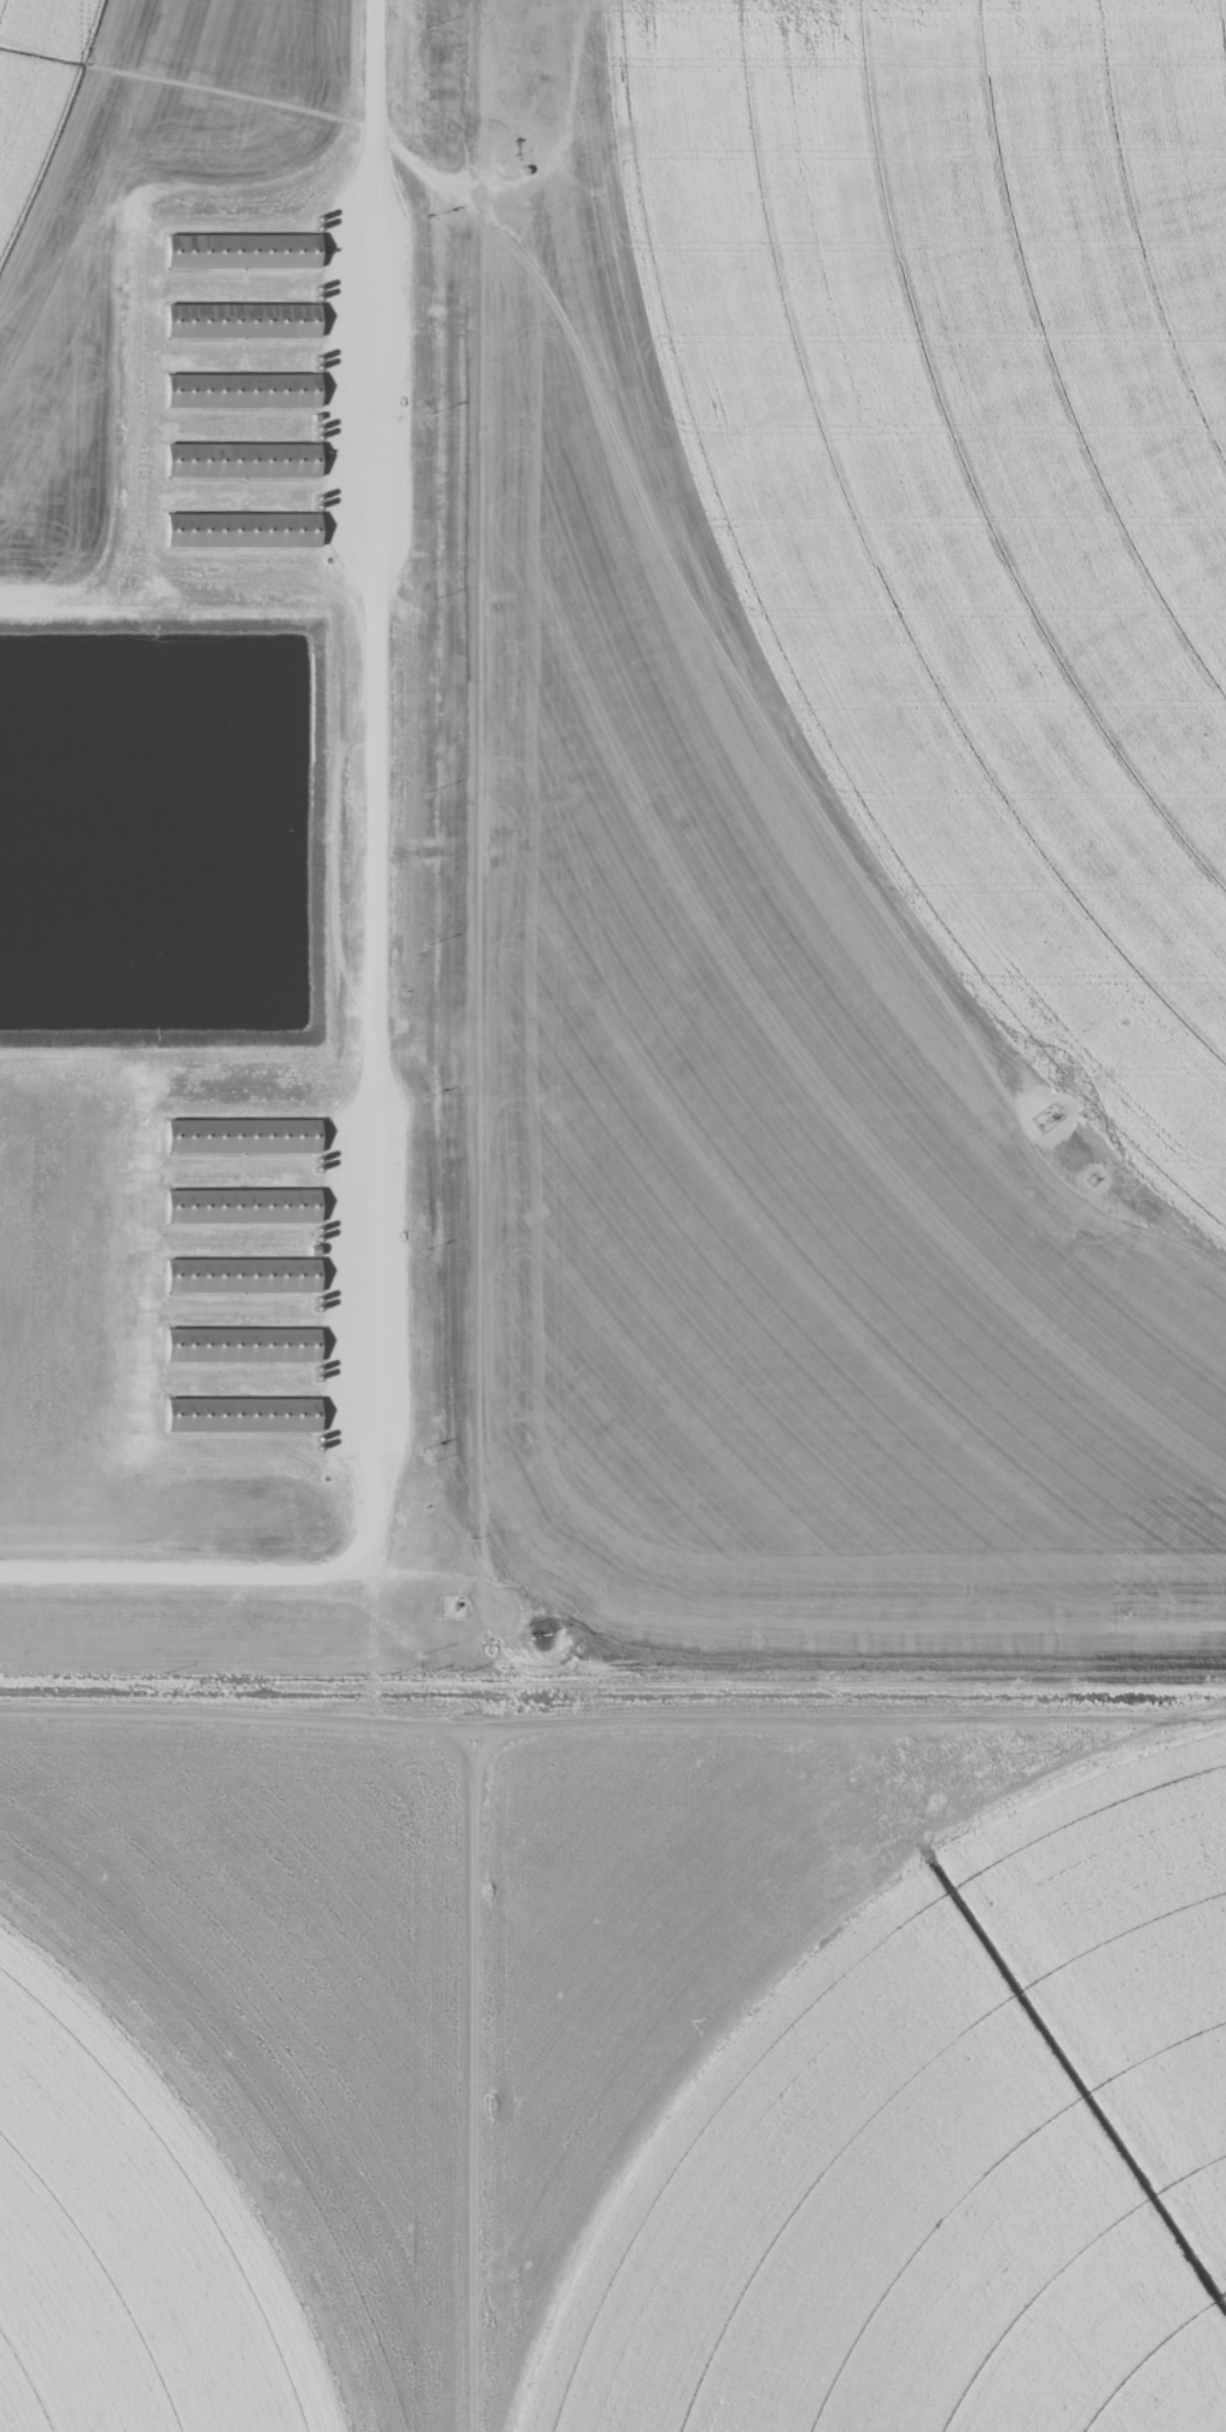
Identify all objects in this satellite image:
building: (243, 251)
building: (243, 321)
building: (243, 390)
building: (243, 1136)
building: (243, 1206)
building: (243, 1276)

